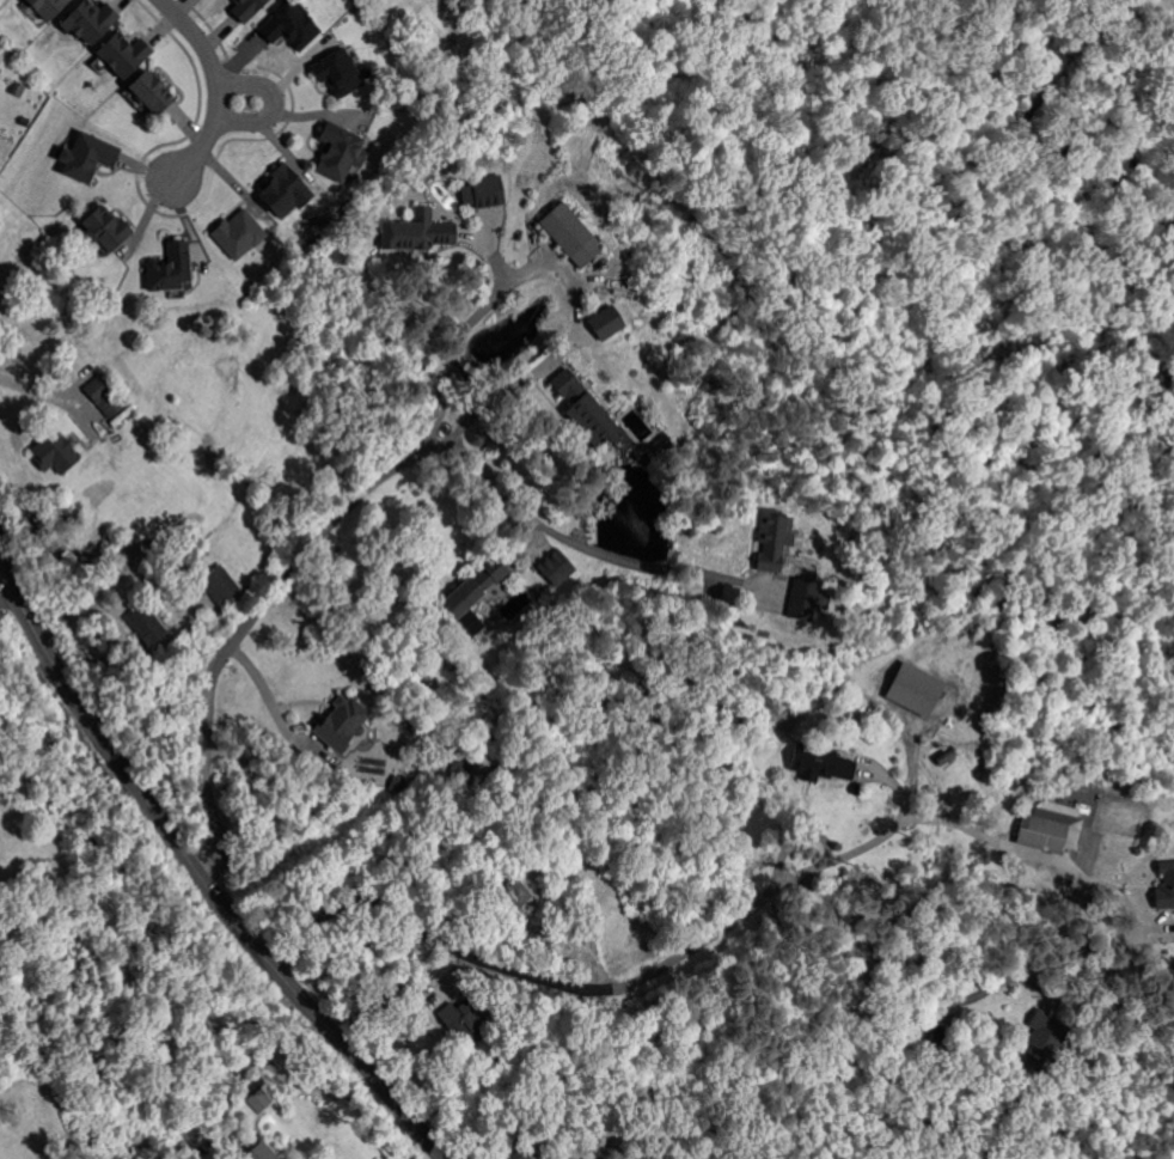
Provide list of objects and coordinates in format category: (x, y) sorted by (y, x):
building: (47, 6)
building: (249, 7)
building: (90, 20)
building: (294, 25)
building: (4, 53)
building: (123, 54)
building: (338, 74)
building: (19, 90)
road: (214, 90)
building: (149, 92)
road: (230, 98)
building: (24, 122)
building: (340, 153)
building: (85, 154)
building: (285, 191)
building: (483, 191)
building: (105, 231)
building: (417, 232)
building: (239, 233)
building: (573, 236)
building: (171, 269)
road: (561, 270)
building: (611, 323)
road: (30, 389)
building: (104, 395)
building: (583, 408)
building: (660, 445)
building: (55, 452)
road: (351, 504)
building: (769, 541)
building: (556, 567)
road: (5, 581)
building: (220, 585)
building: (476, 586)
building: (799, 599)
building: (147, 626)
building: (342, 722)
building: (247, 756)
building: (819, 764)
building: (457, 767)
building: (397, 783)
building: (568, 789)
road: (941, 817)
building: (1038, 834)
road: (196, 870)
building: (1164, 885)
building: (513, 896)
road: (515, 968)
road: (905, 976)
building: (461, 1020)
building: (1042, 1038)
building: (257, 1098)
building: (507, 1146)
building: (263, 1152)
building: (518, 1154)
building: (565, 1157)
building: (569, 1157)
building: (583, 1158)
building: (586, 1158)

